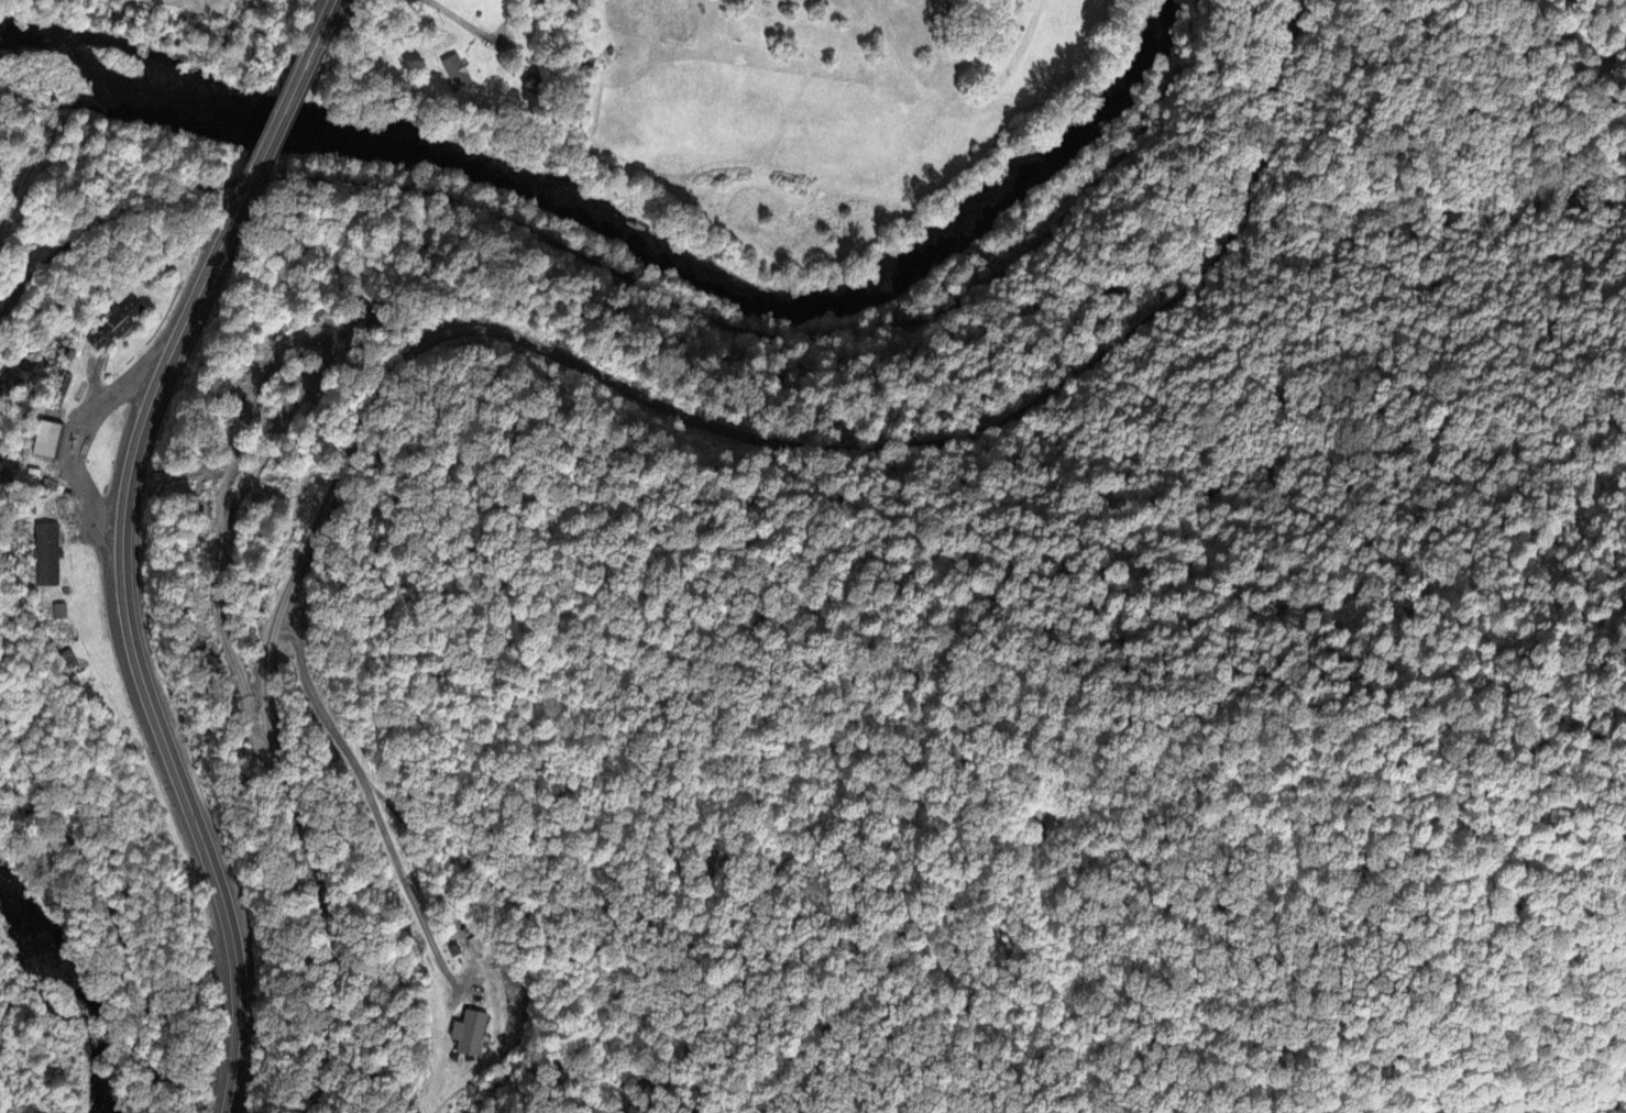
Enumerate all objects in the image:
road: (326, 22)
building: (459, 70)
road: (272, 134)
road: (682, 284)
building: (114, 324)
road: (605, 372)
building: (53, 387)
building: (40, 439)
road: (75, 443)
building: (45, 554)
building: (58, 608)
building: (67, 658)
road: (139, 668)
road: (108, 893)
building: (453, 949)
building: (462, 1035)

